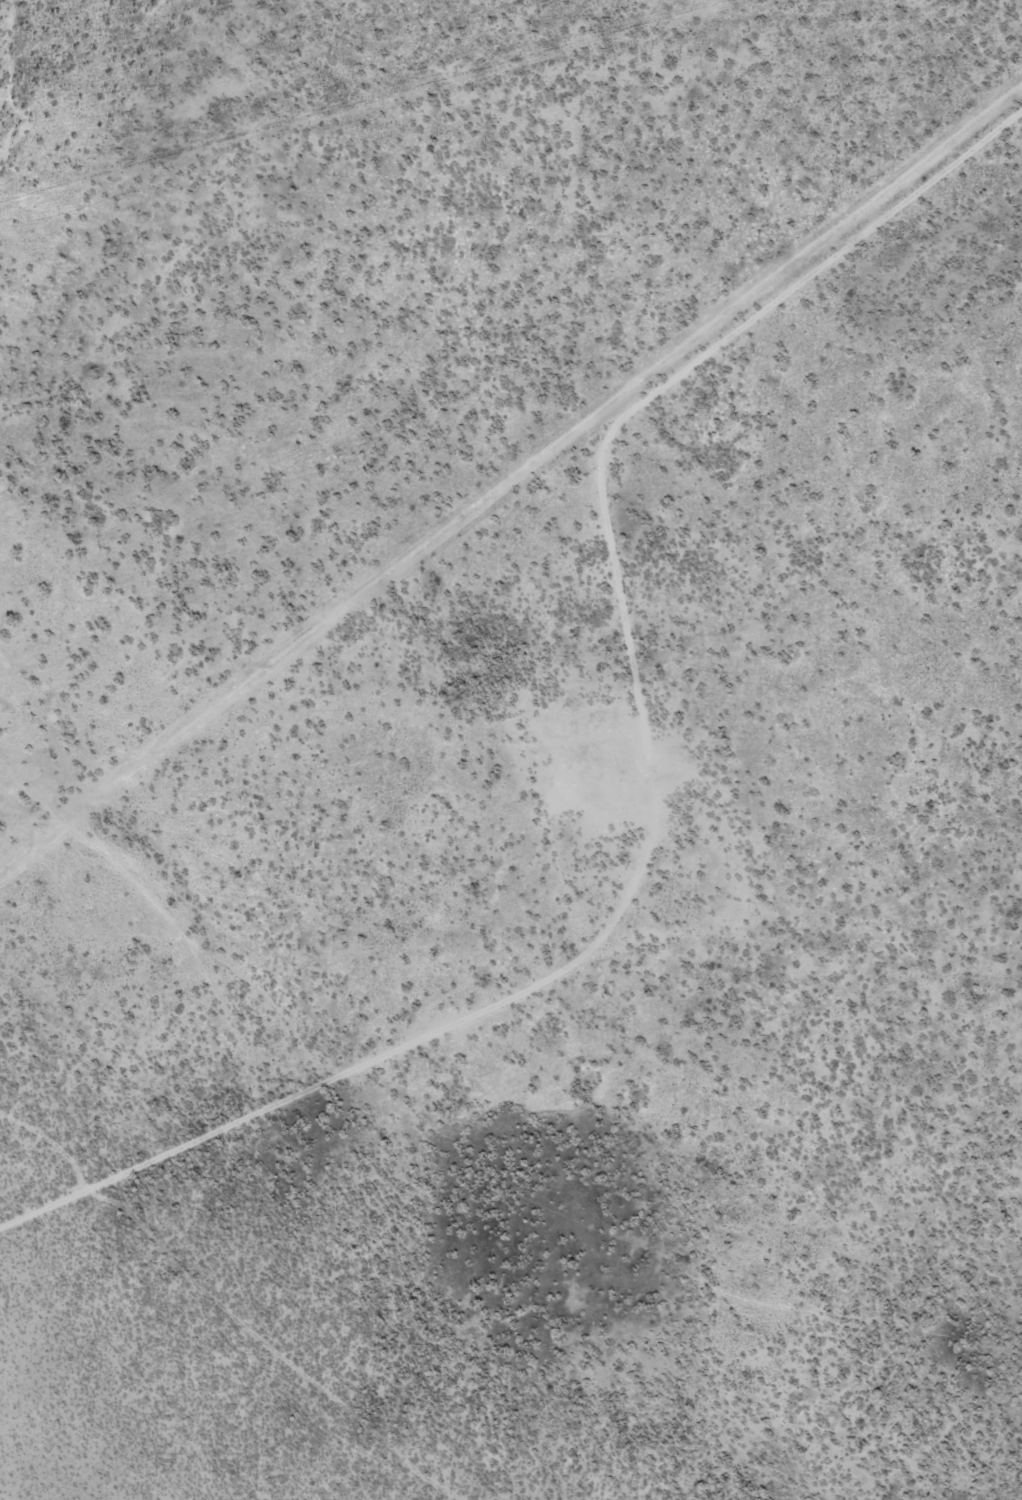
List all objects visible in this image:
road: (363, 1061)
road: (246, 1301)

